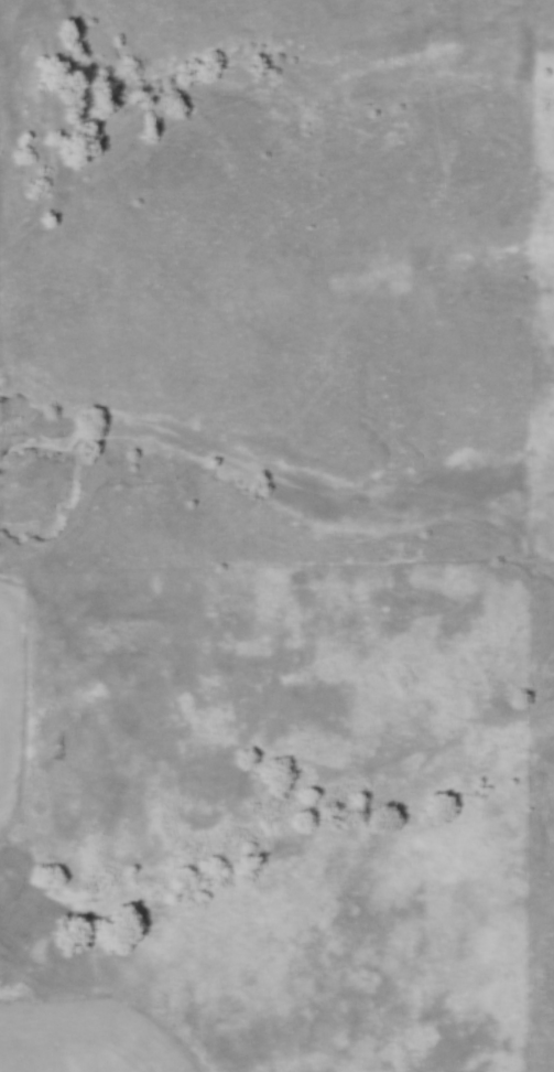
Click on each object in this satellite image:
crop: (8, 704)
crop: (83, 1042)

